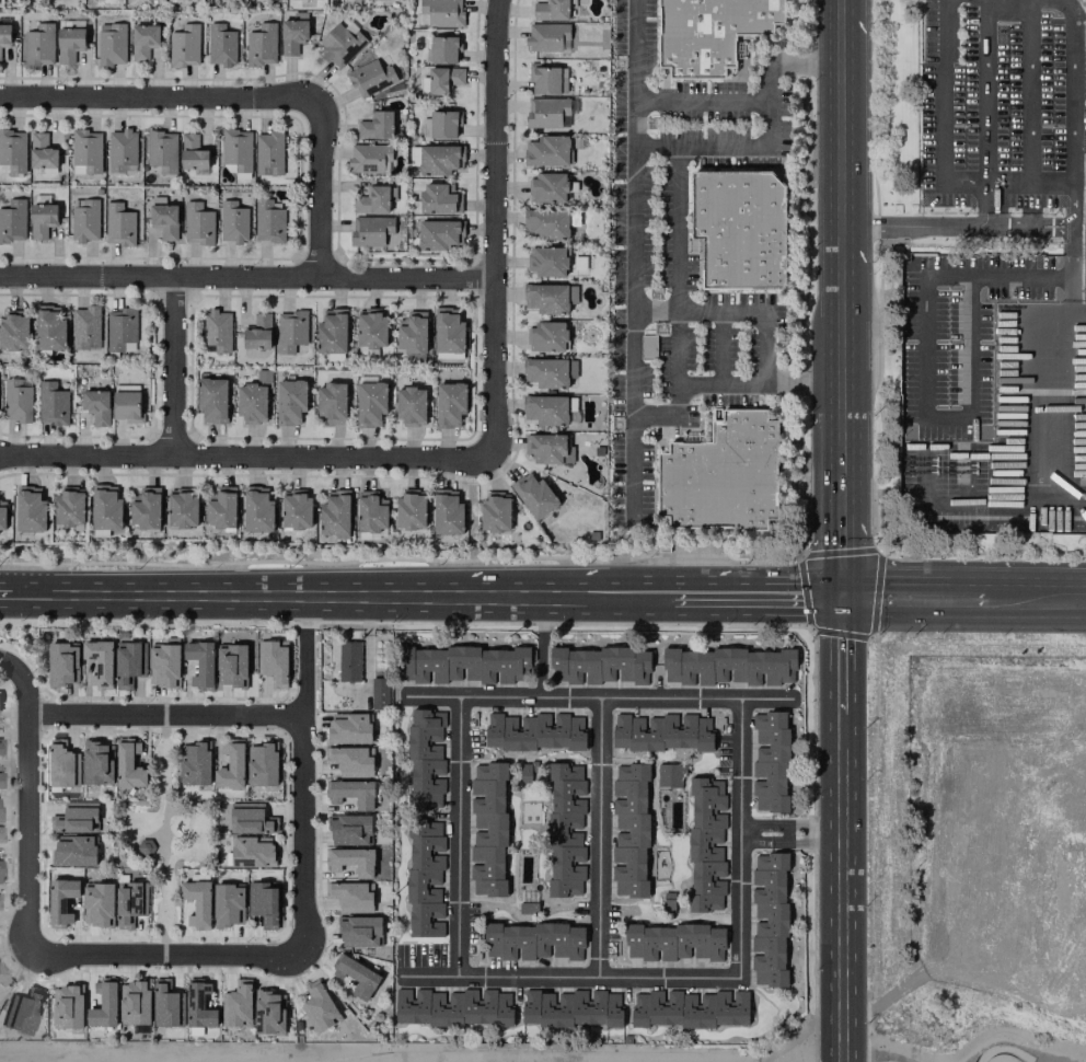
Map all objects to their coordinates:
building: (176, 0)
building: (551, 10)
building: (440, 12)
building: (4, 32)
building: (293, 33)
building: (708, 33)
building: (547, 37)
building: (69, 39)
building: (143, 41)
building: (111, 44)
building: (39, 45)
building: (220, 45)
building: (262, 45)
building: (184, 46)
building: (443, 49)
building: (0, 58)
road: (636, 73)
building: (370, 78)
building: (444, 79)
building: (544, 79)
road: (1028, 90)
road: (1072, 90)
road: (157, 99)
road: (702, 102)
building: (550, 112)
road: (943, 114)
building: (440, 124)
building: (376, 125)
road: (842, 125)
road: (496, 141)
building: (236, 149)
building: (86, 150)
building: (12, 151)
building: (42, 151)
building: (122, 151)
building: (162, 151)
building: (546, 151)
building: (193, 152)
building: (268, 153)
building: (370, 159)
building: (438, 159)
road: (1051, 180)
road: (1008, 181)
building: (547, 187)
road: (320, 191)
building: (1085, 192)
building: (436, 198)
building: (373, 200)
road: (986, 203)
road: (1073, 203)
building: (163, 218)
building: (42, 220)
building: (268, 220)
building: (13, 221)
building: (84, 221)
building: (232, 222)
building: (197, 223)
building: (546, 223)
building: (118, 224)
road: (1029, 226)
road: (914, 227)
building: (739, 228)
building: (370, 230)
building: (437, 234)
building: (547, 261)
road: (633, 262)
road: (247, 278)
building: (550, 298)
road: (675, 311)
road: (654, 312)
road: (1077, 312)
building: (86, 327)
building: (49, 328)
building: (120, 330)
building: (14, 331)
building: (217, 331)
building: (291, 331)
building: (370, 331)
building: (448, 331)
building: (258, 332)
building: (332, 332)
road: (842, 332)
building: (412, 333)
building: (547, 336)
road: (675, 348)
road: (720, 348)
road: (1049, 349)
road: (174, 368)
road: (923, 368)
road: (496, 370)
building: (545, 372)
building: (16, 400)
building: (212, 400)
building: (253, 400)
building: (290, 402)
building: (370, 402)
building: (126, 403)
building: (331, 403)
building: (51, 404)
building: (450, 404)
building: (96, 406)
building: (411, 406)
road: (842, 446)
building: (546, 448)
road: (245, 458)
road: (631, 466)
building: (723, 475)
building: (534, 495)
road: (1063, 499)
building: (70, 507)
building: (106, 508)
building: (146, 508)
building: (182, 508)
building: (221, 508)
building: (31, 509)
building: (411, 509)
building: (257, 510)
building: (296, 510)
building: (371, 511)
building: (335, 512)
building: (495, 512)
building: (448, 513)
building: (2, 517)
road: (842, 536)
road: (816, 554)
road: (289, 592)
road: (624, 592)
road: (698, 592)
road: (784, 593)
traffic signals: (842, 593)
road: (911, 595)
road: (1033, 596)
road: (308, 611)
road: (842, 649)
building: (273, 661)
building: (349, 661)
building: (99, 663)
building: (127, 663)
building: (200, 663)
building: (164, 665)
building: (462, 665)
building: (232, 666)
building: (598, 666)
building: (729, 666)
road: (22, 681)
building: (379, 693)
road: (165, 713)
building: (348, 728)
building: (534, 731)
building: (663, 732)
building: (425, 759)
building: (349, 761)
building: (770, 761)
building: (95, 763)
building: (61, 764)
building: (195, 764)
building: (262, 764)
building: (128, 765)
building: (230, 765)
building: (669, 775)
building: (353, 793)
road: (305, 794)
building: (74, 817)
building: (249, 819)
building: (566, 828)
building: (349, 829)
building: (488, 830)
building: (629, 832)
road: (794, 833)
road: (24, 835)
road: (460, 835)
road: (600, 836)
road: (743, 836)
building: (706, 843)
building: (73, 851)
building: (251, 852)
building: (351, 861)
building: (425, 882)
road: (843, 884)
building: (349, 897)
building: (61, 901)
building: (127, 903)
building: (197, 903)
building: (228, 903)
building: (97, 904)
building: (264, 904)
building: (769, 917)
building: (359, 932)
building: (533, 942)
building: (673, 942)
road: (170, 956)
building: (356, 976)
building: (2, 978)
building: (135, 1003)
building: (103, 1004)
building: (235, 1004)
building: (164, 1005)
building: (199, 1005)
building: (317, 1006)
building: (67, 1007)
building: (451, 1007)
building: (570, 1008)
building: (689, 1009)
building: (22, 1011)
building: (269, 1013)
road: (992, 1047)
road: (875, 1059)

